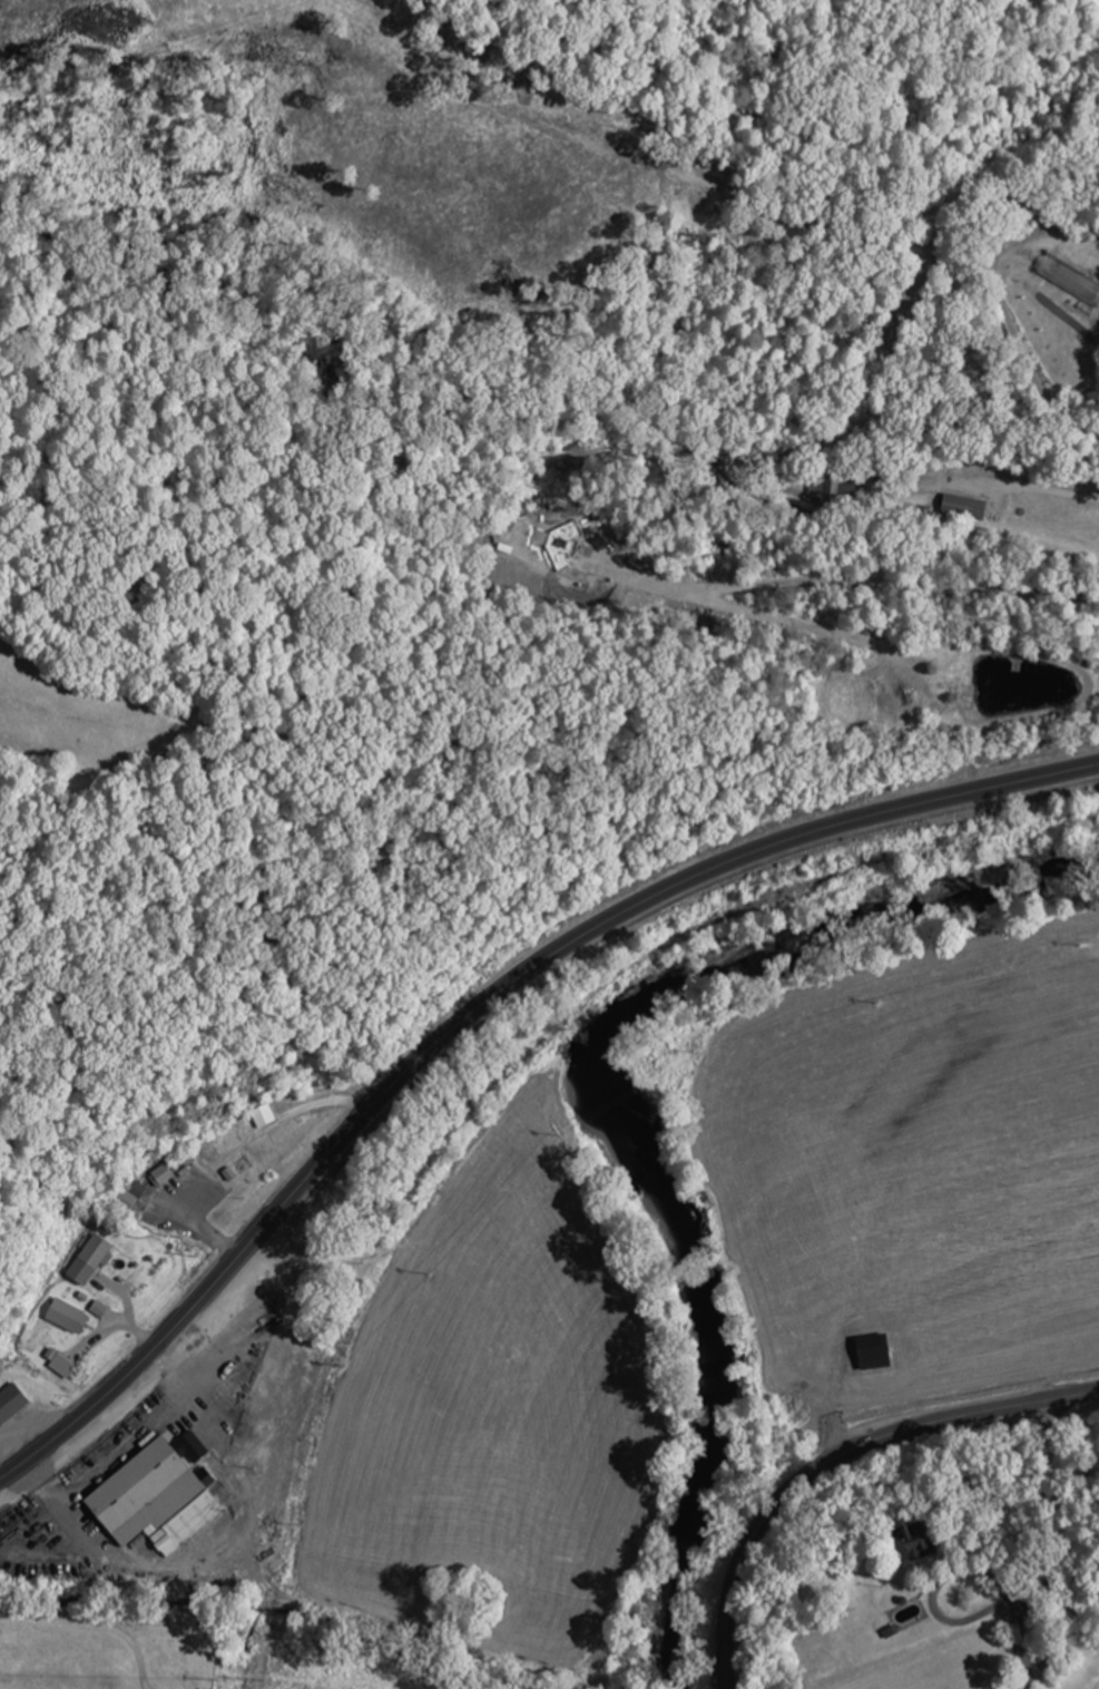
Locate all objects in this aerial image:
road: (954, 448)
building: (831, 484)
road: (479, 1009)
road: (203, 1075)
river: (608, 1105)
building: (246, 1164)
building: (170, 1171)
building: (129, 1197)
building: (100, 1252)
building: (61, 1322)
building: (880, 1353)
building: (67, 1366)
building: (13, 1404)
road: (836, 1457)
building: (161, 1500)
building: (920, 1540)
building: (1027, 1605)

